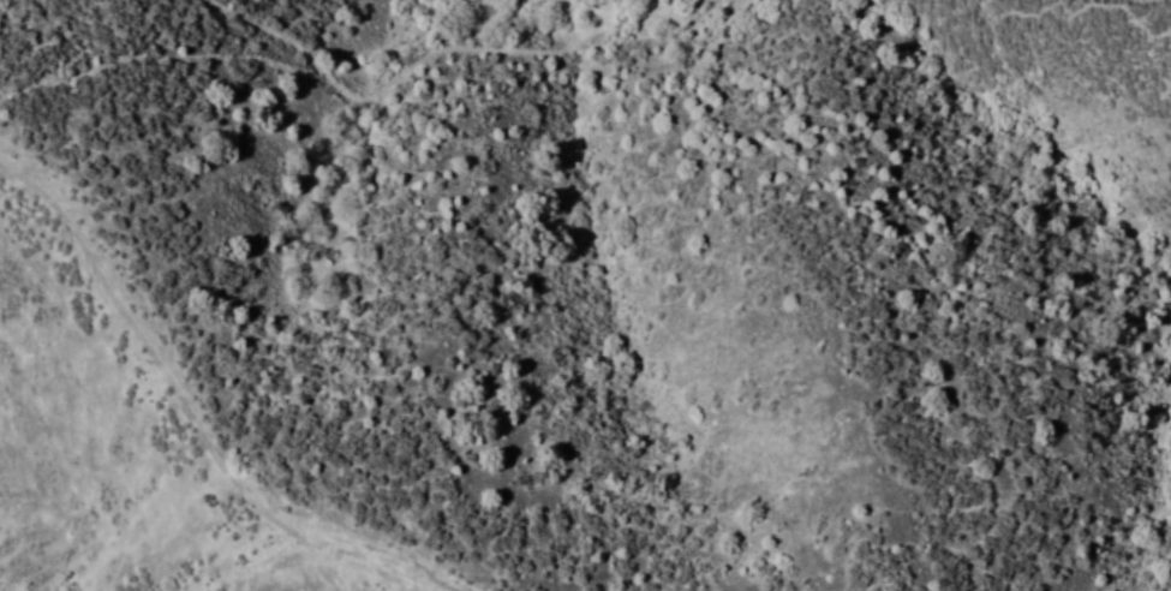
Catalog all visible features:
road: (156, 430)

